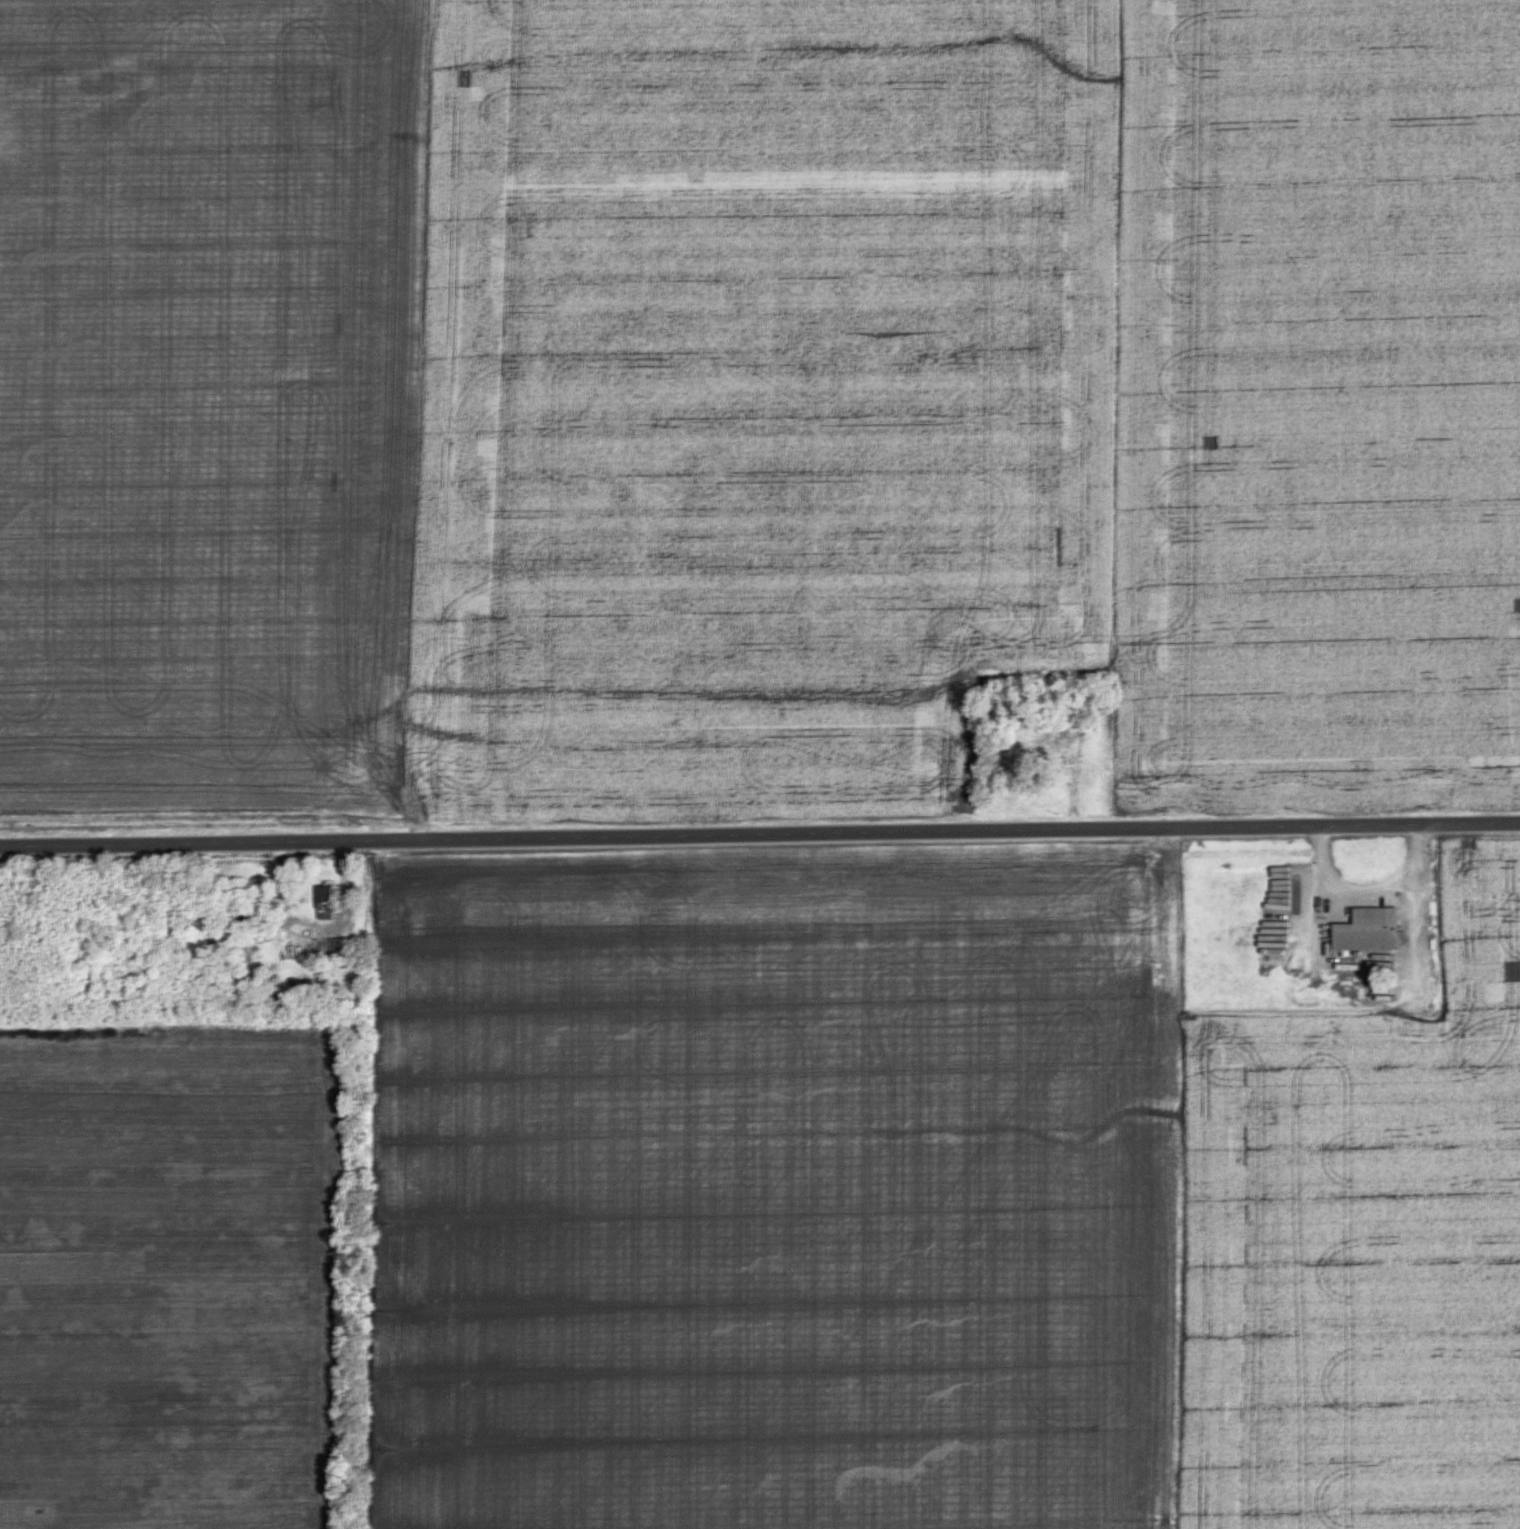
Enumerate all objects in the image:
road: (759, 833)
road: (1346, 888)
building: (323, 900)
road: (1415, 907)
building: (1366, 928)

